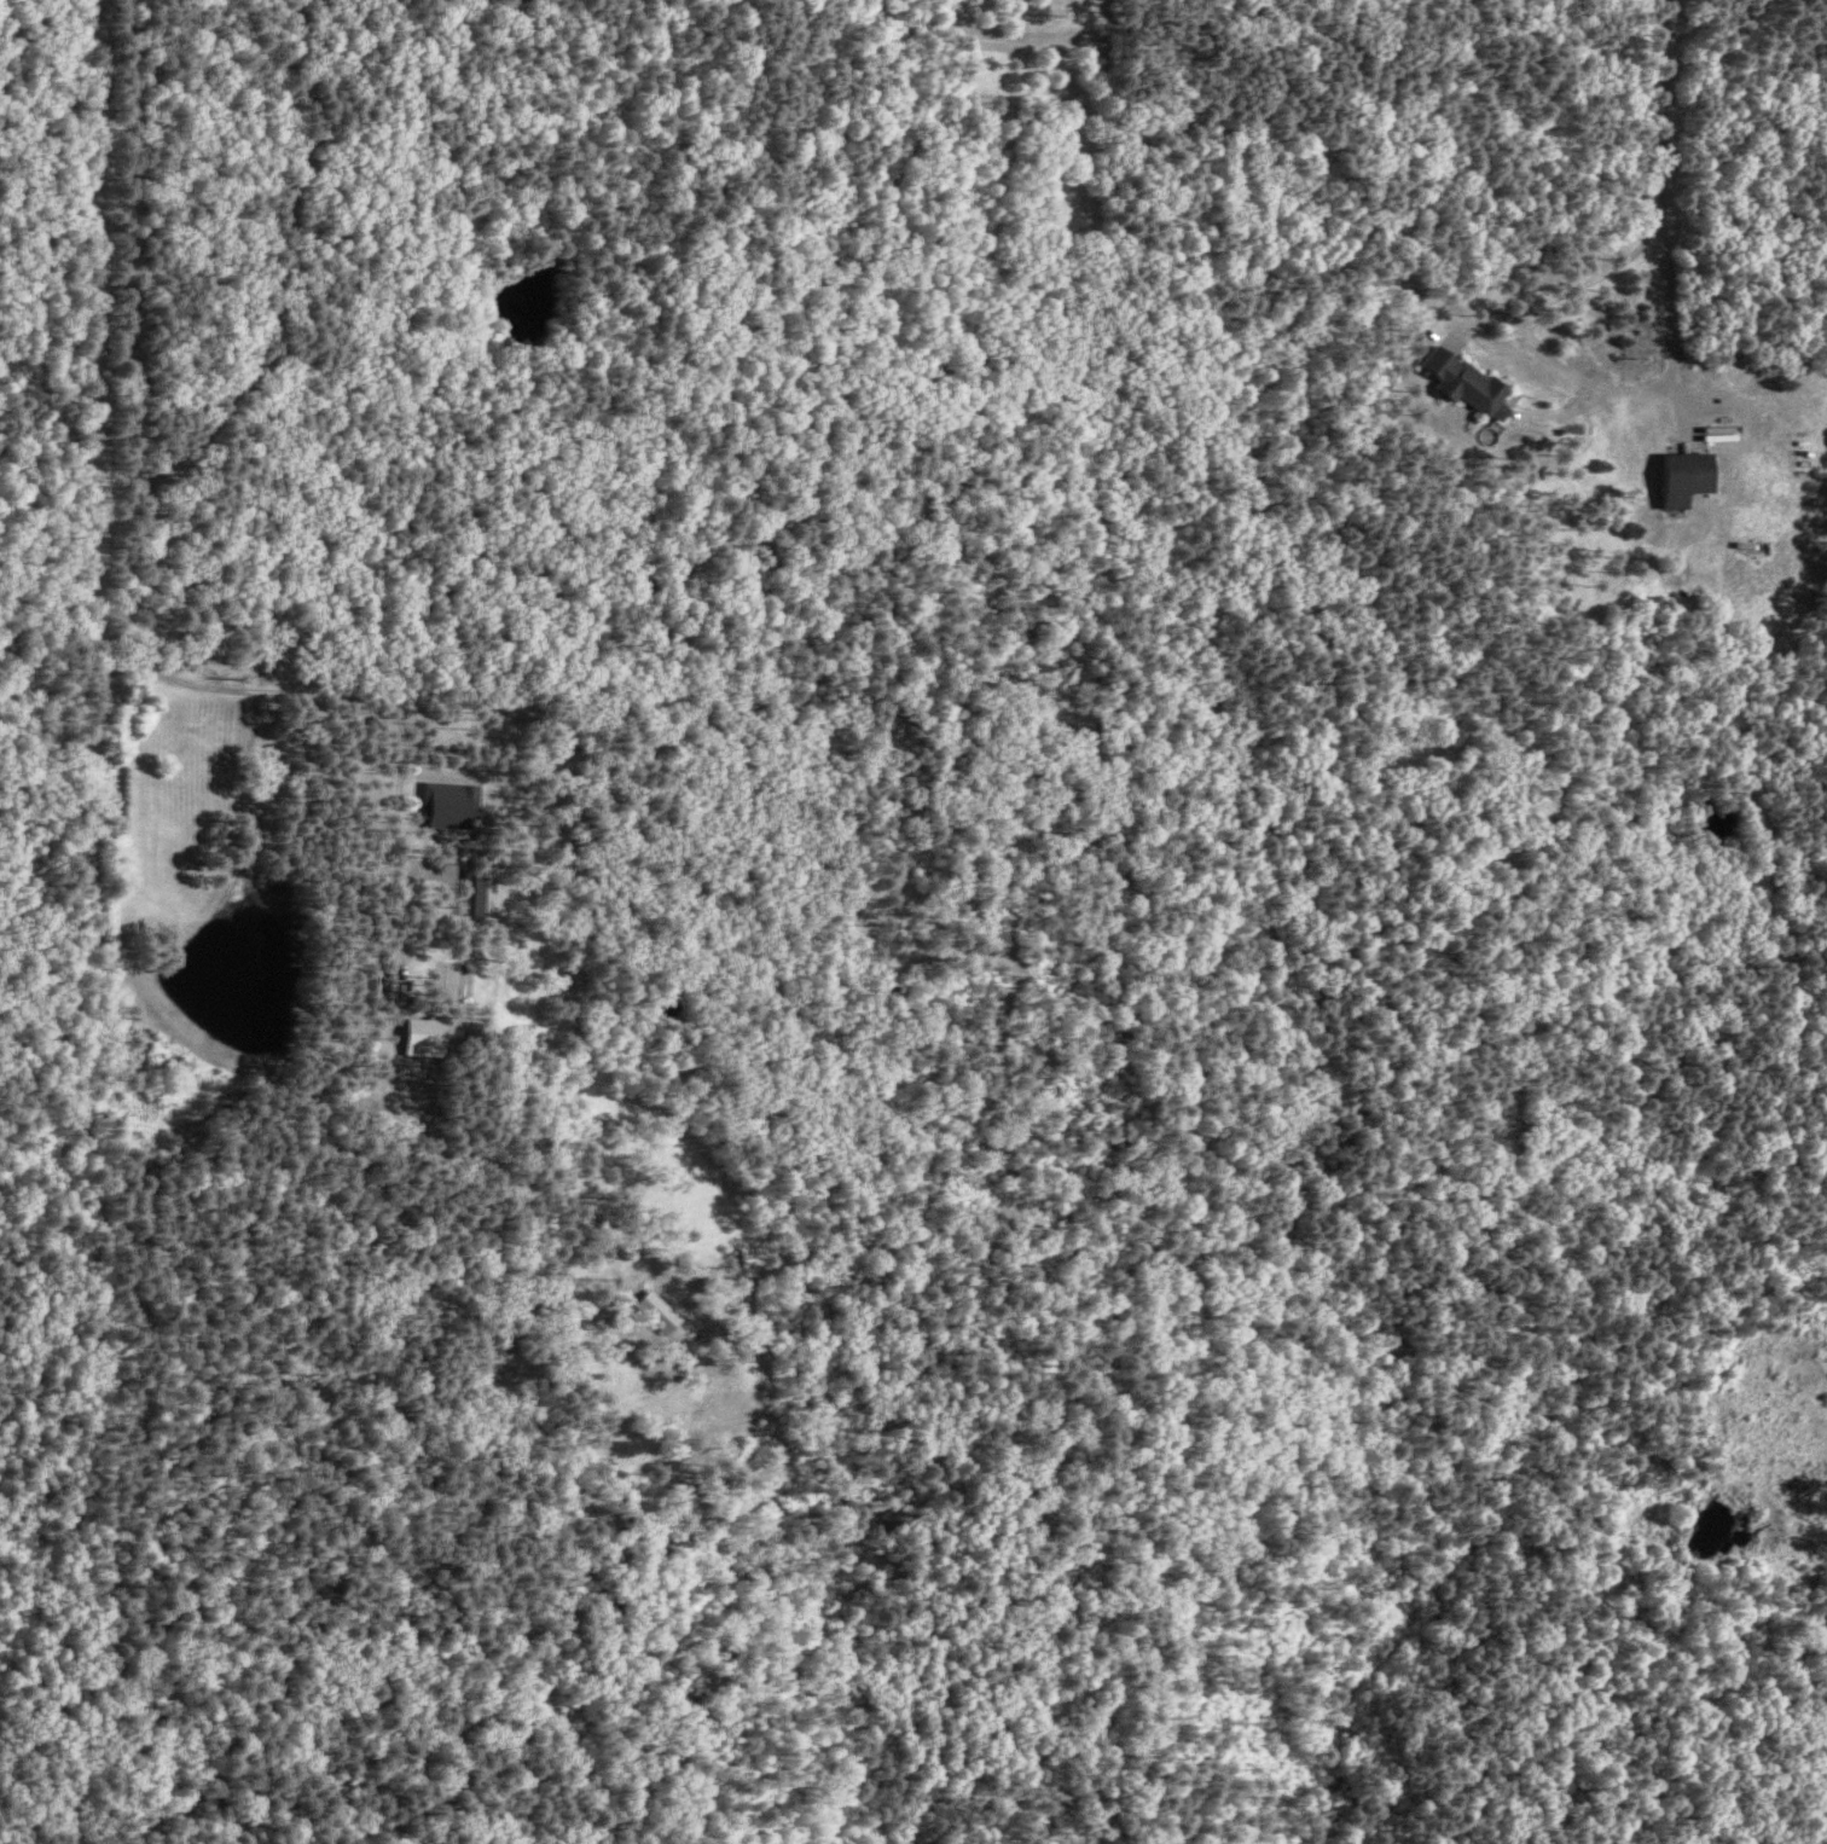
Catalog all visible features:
building: (1469, 381)
building: (1688, 475)
building: (452, 801)
building: (482, 891)
building: (376, 982)
building: (425, 1036)
building: (661, 1310)

